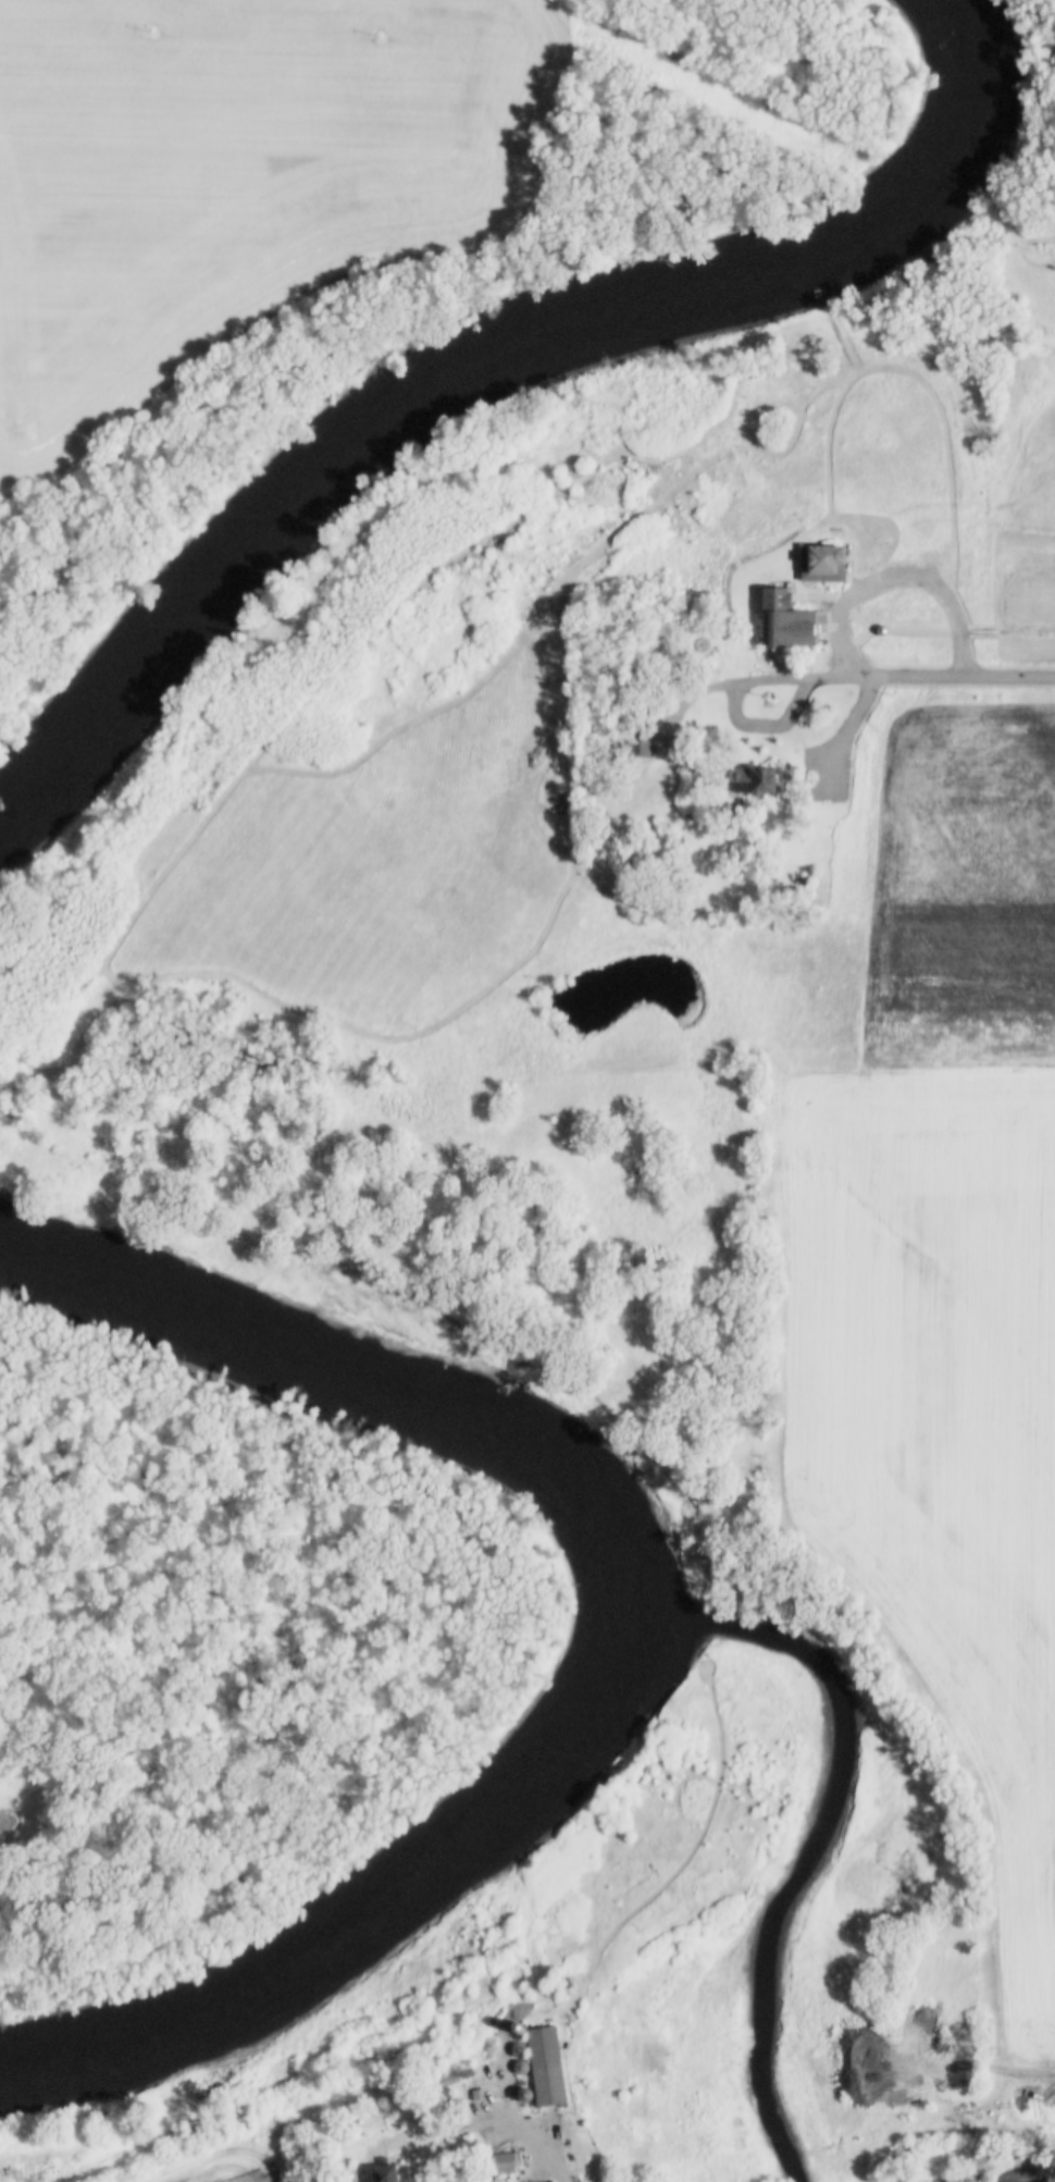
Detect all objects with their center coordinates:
river: (935, 139)
road: (919, 377)
road: (694, 455)
river: (369, 456)
building: (824, 562)
road: (896, 577)
road: (1005, 581)
road: (557, 582)
road: (858, 617)
building: (789, 618)
road: (898, 631)
road: (980, 631)
road: (1006, 631)
road: (1034, 631)
road: (773, 665)
road: (773, 673)
road: (931, 676)
road: (737, 717)
road: (847, 732)
building: (755, 779)
road: (212, 809)
crop: (965, 895)
river: (363, 1383)
crop: (940, 1429)
river: (375, 1931)
building: (546, 2063)
road: (521, 2137)
road: (214, 2152)
building: (506, 2162)
crop: (227, 2173)
building: (389, 2173)

